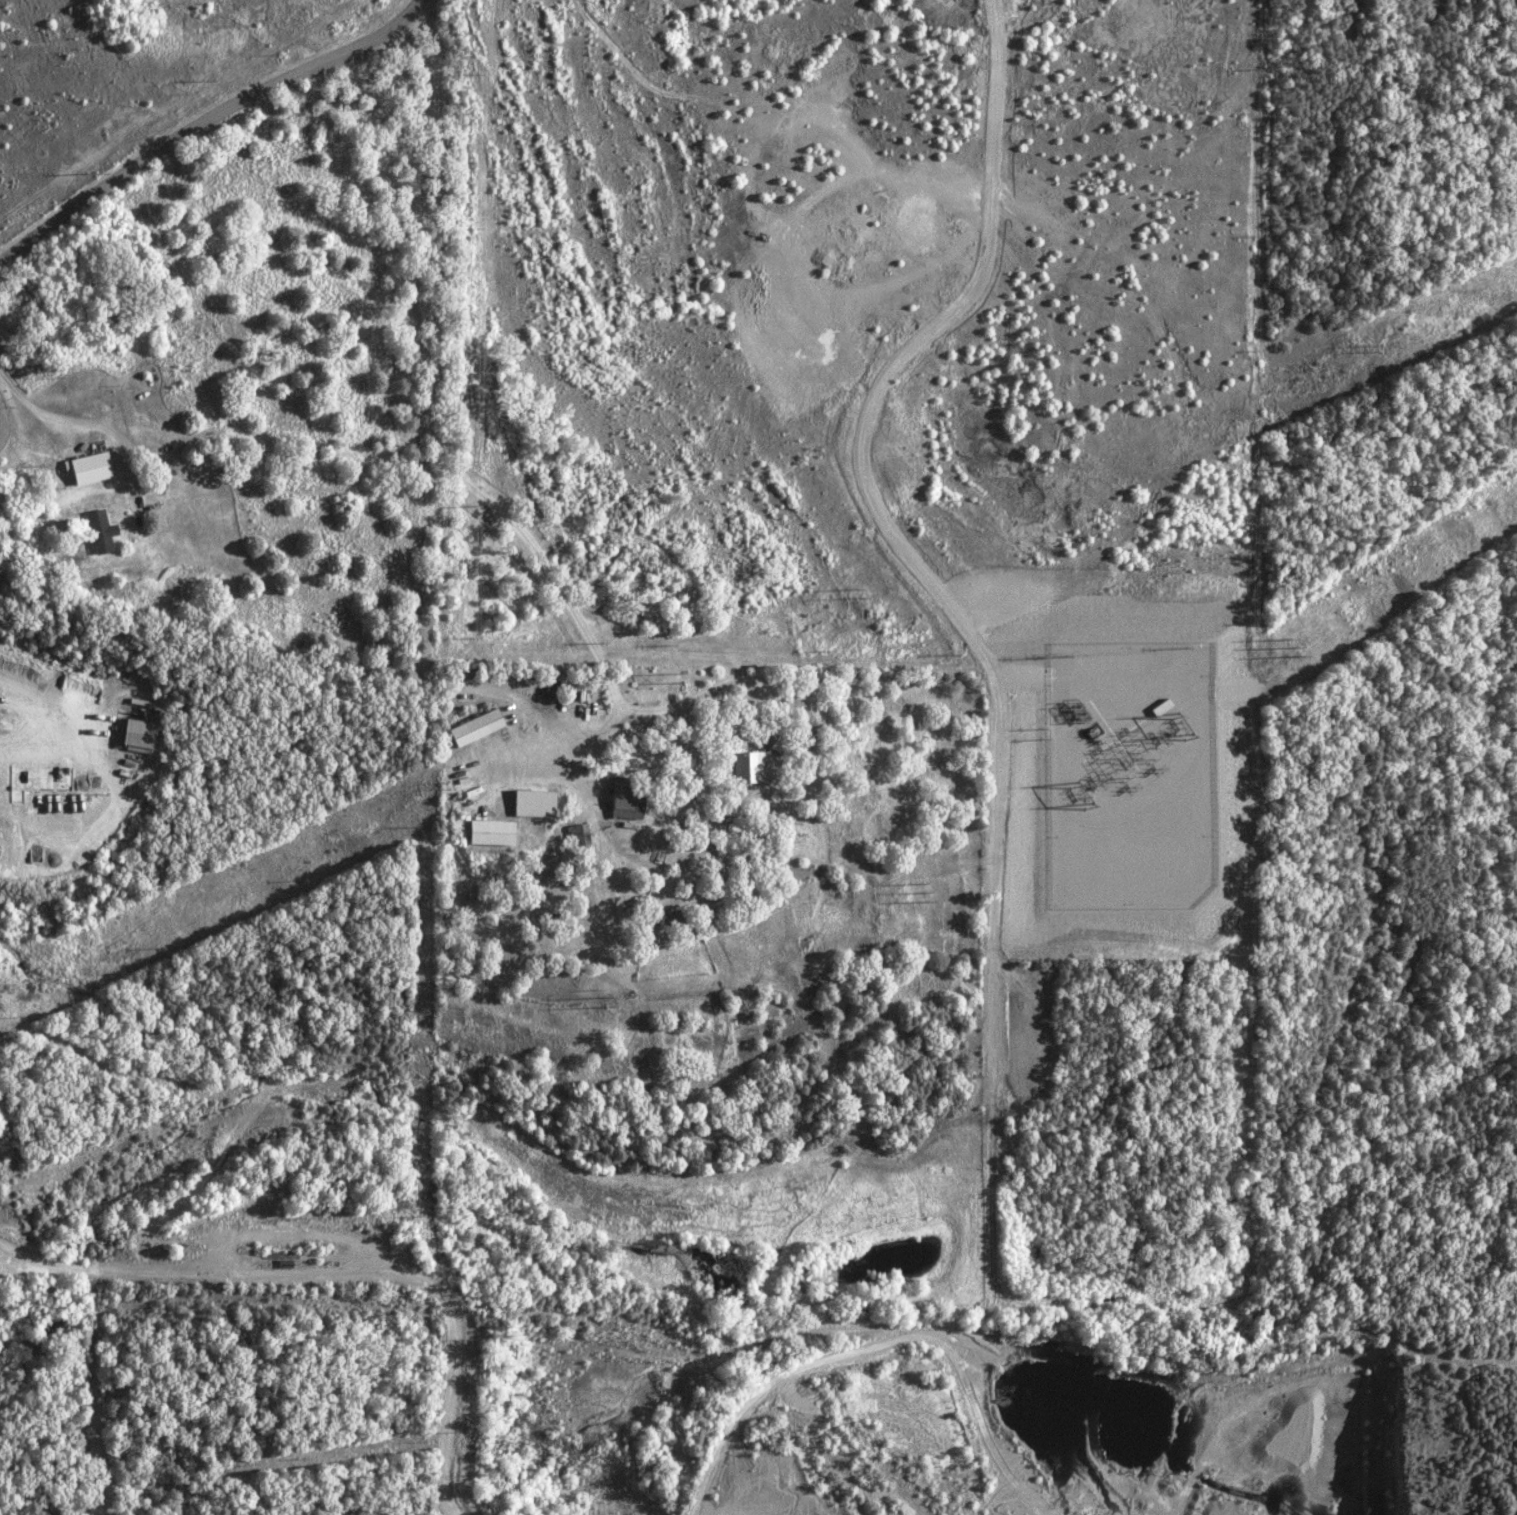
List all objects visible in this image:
road: (203, 121)
power tower: (1370, 353)
road: (87, 422)
building: (87, 467)
building: (99, 531)
power tower: (860, 590)
power tower: (1259, 672)
power tower: (603, 712)
building: (476, 727)
building: (139, 735)
building: (752, 767)
power tower: (451, 786)
building: (534, 802)
building: (625, 802)
building: (489, 832)
building: (578, 834)
power tower: (946, 889)
power tower: (607, 1003)
road: (340, 1273)
quarry: (938, 1430)

